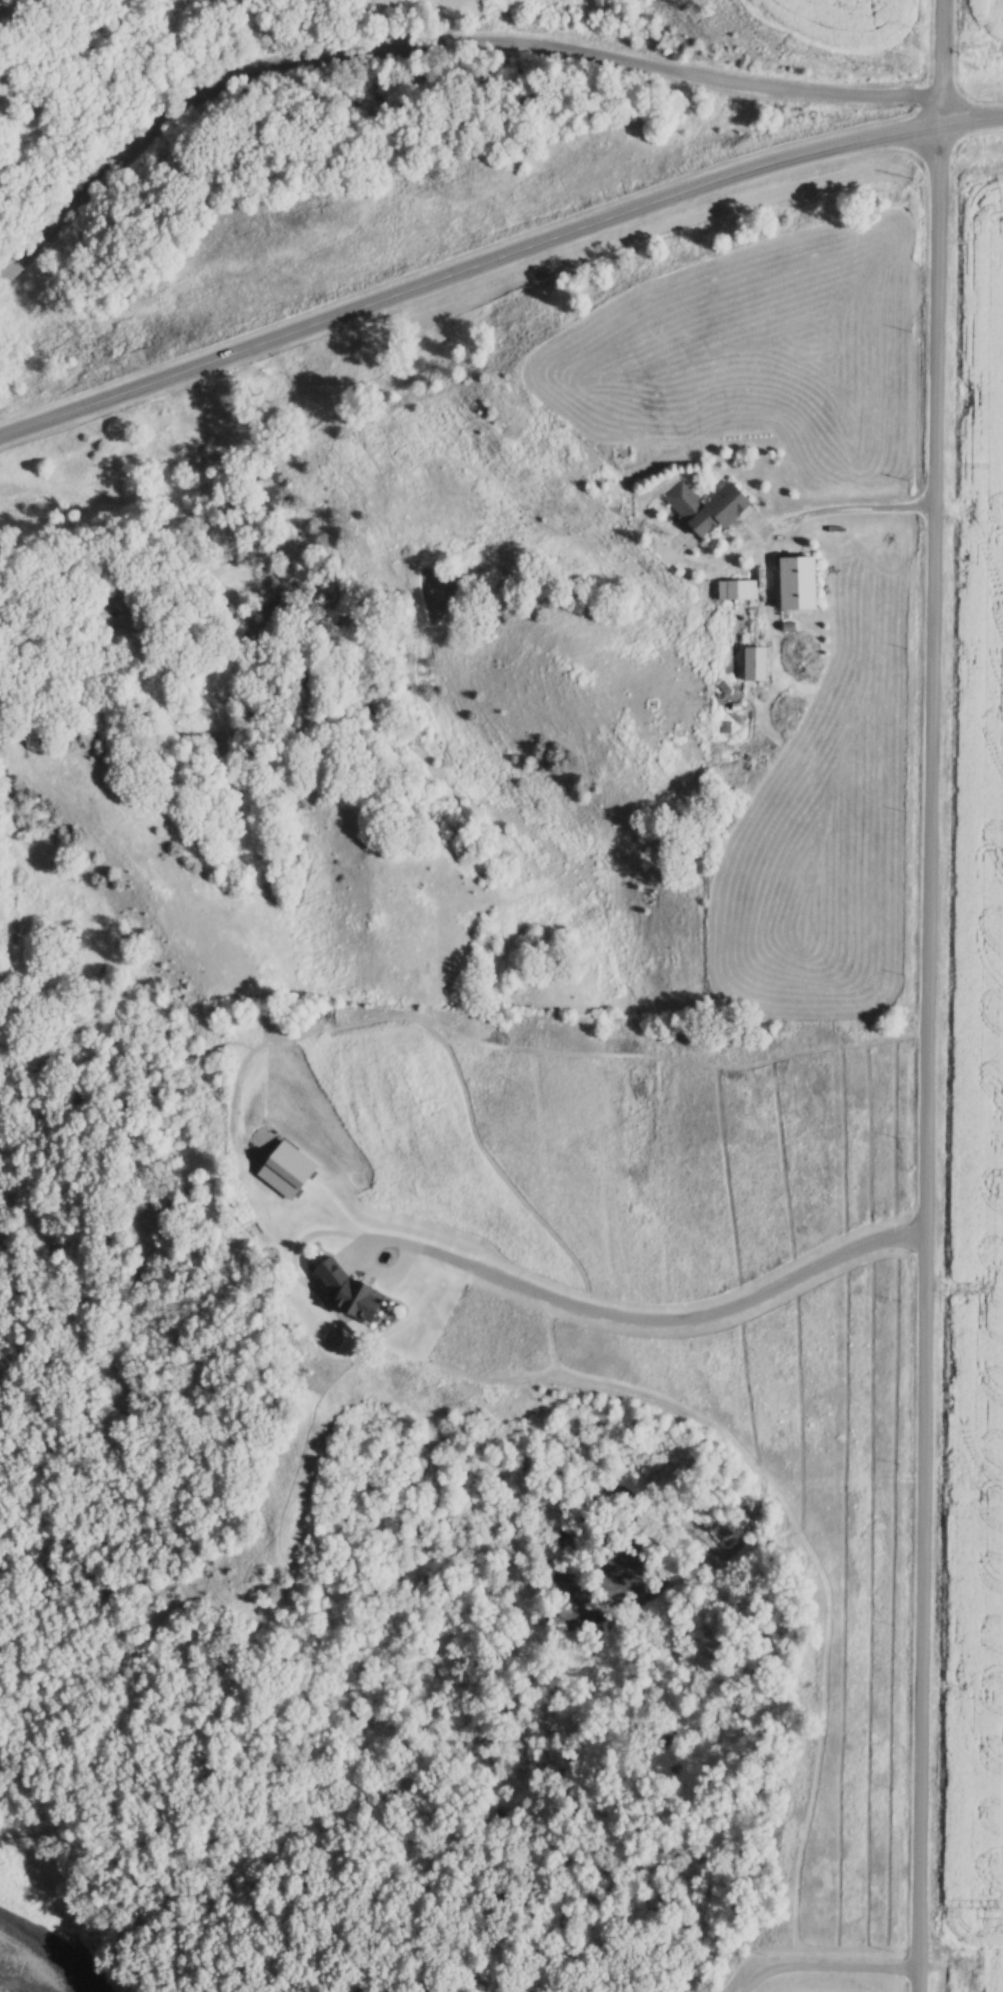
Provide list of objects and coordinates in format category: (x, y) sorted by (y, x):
road: (430, 40)
road: (944, 60)
road: (496, 255)
building: (716, 509)
building: (801, 582)
building: (738, 589)
building: (757, 663)
road: (929, 1057)
building: (355, 1293)
river: (43, 1932)

